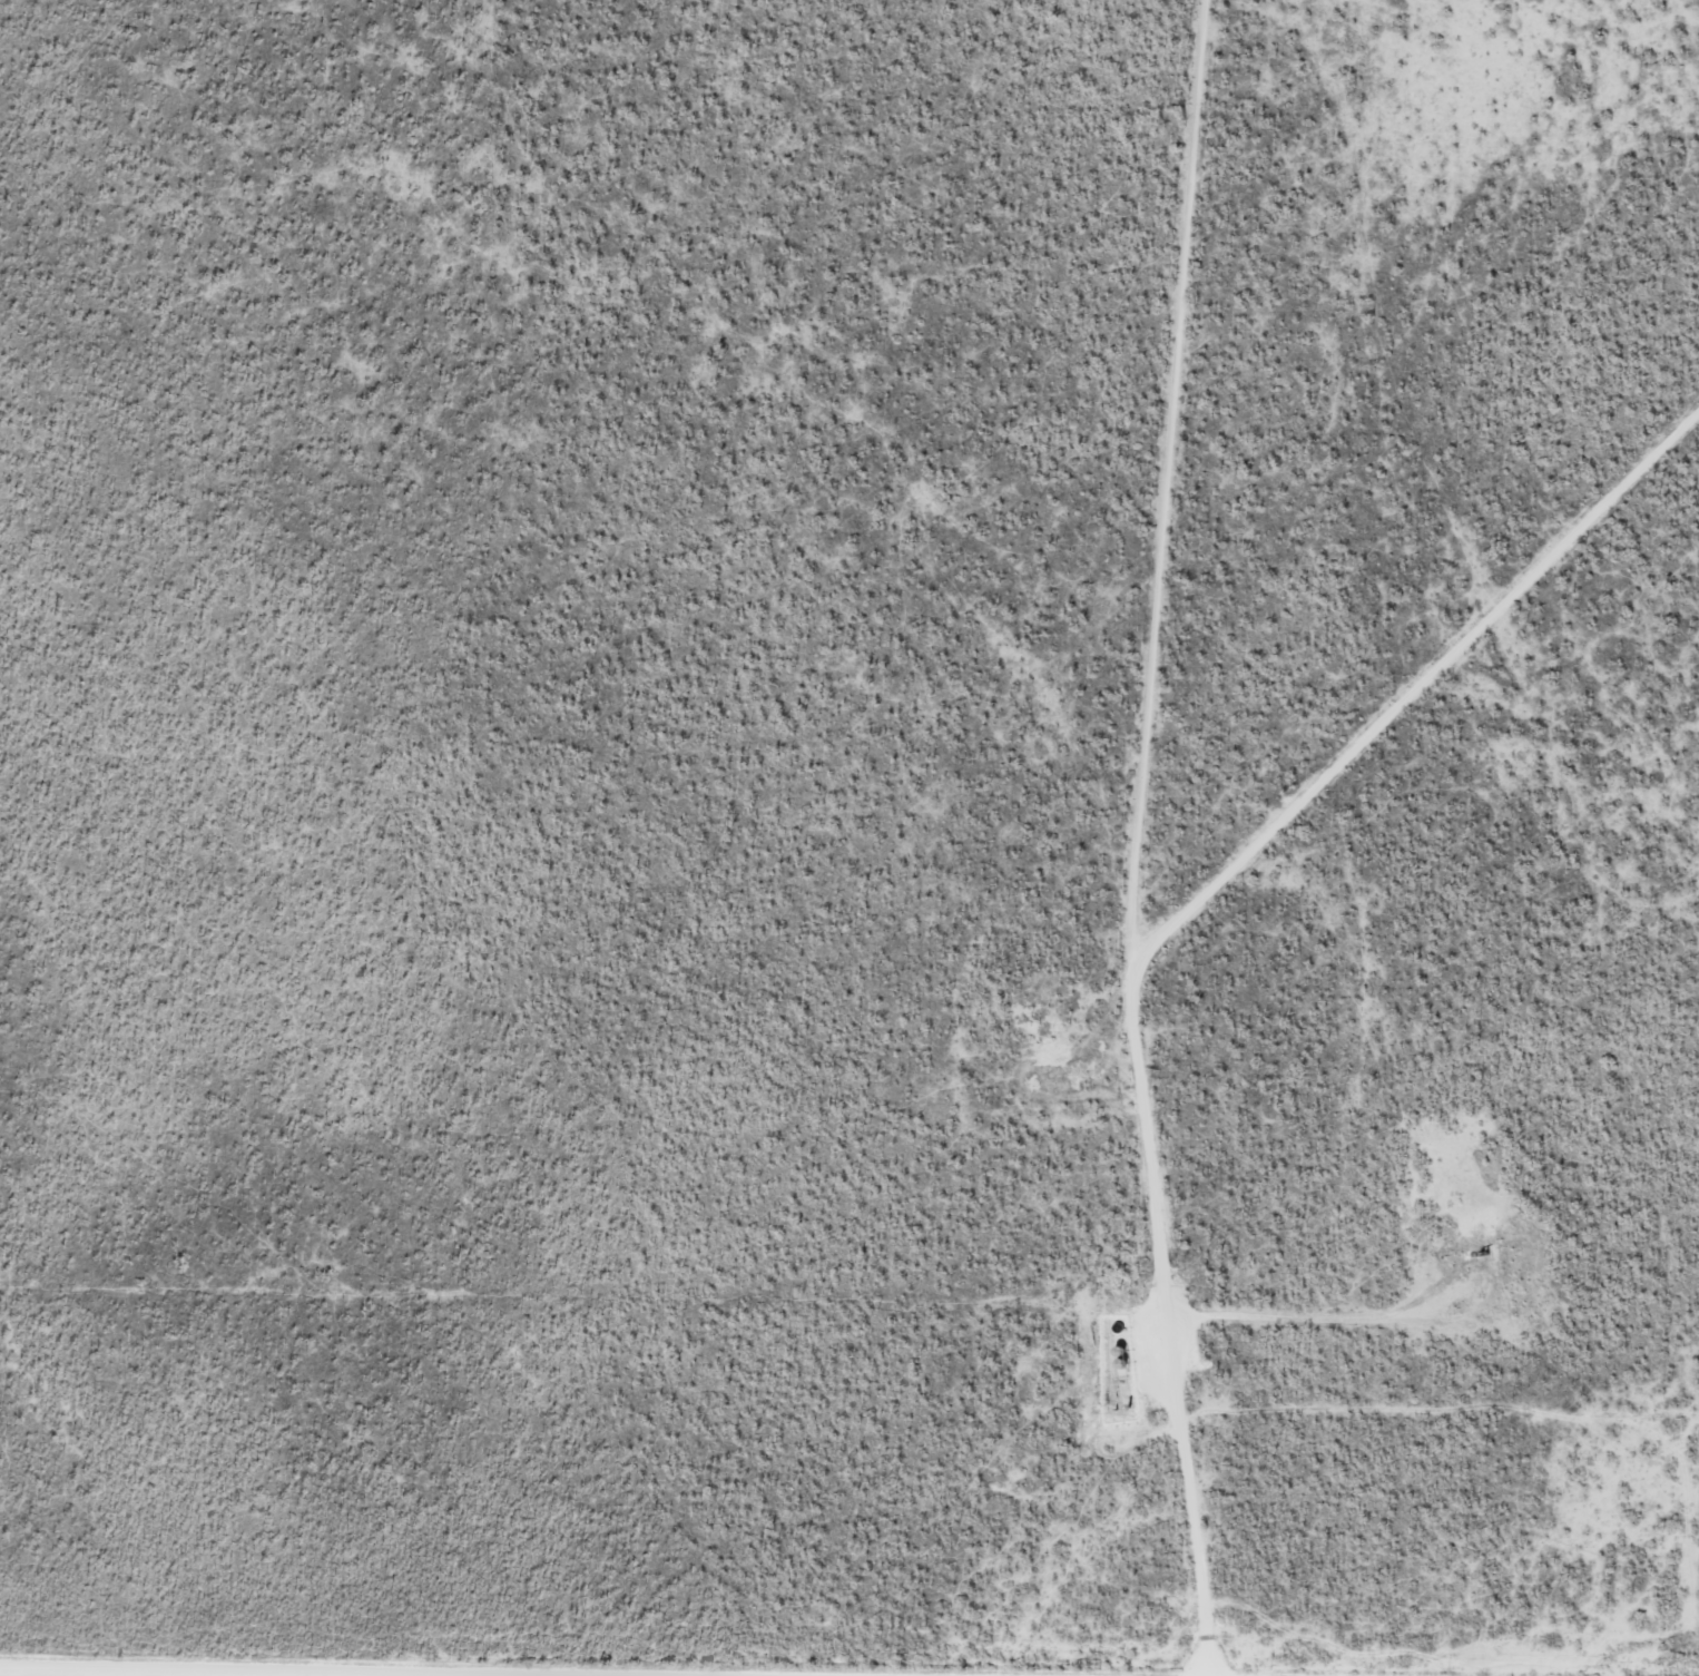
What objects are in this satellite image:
road: (1434, 683)
road: (1155, 839)
road: (110, 1673)

